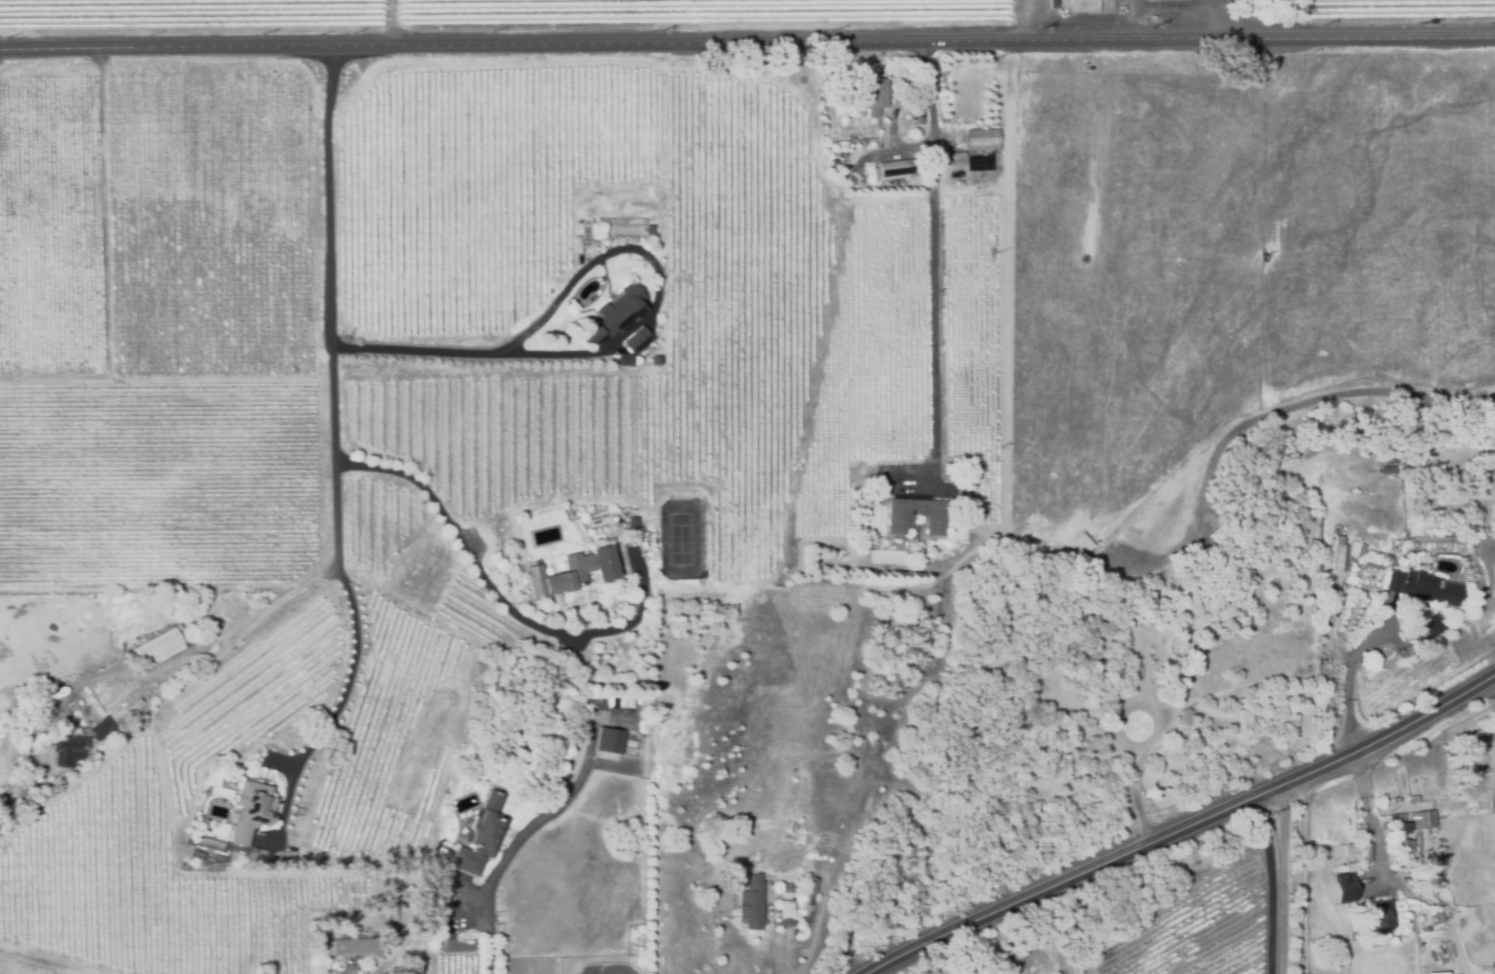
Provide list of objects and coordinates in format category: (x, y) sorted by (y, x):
building: (1080, 6)
road: (1026, 21)
road: (747, 42)
building: (876, 100)
building: (980, 139)
building: (843, 153)
building: (899, 168)
building: (955, 180)
road: (935, 245)
building: (618, 310)
building: (633, 344)
road: (443, 352)
road: (332, 448)
building: (1408, 470)
building: (917, 517)
building: (632, 523)
road: (452, 526)
building: (647, 539)
building: (1355, 551)
building: (1337, 555)
building: (571, 574)
building: (1423, 587)
building: (1426, 630)
building: (157, 649)
road: (352, 666)
road: (1494, 672)
road: (1349, 680)
building: (15, 692)
building: (136, 702)
building: (103, 730)
building: (608, 743)
building: (68, 750)
building: (1410, 799)
building: (1392, 802)
building: (254, 806)
road: (1371, 815)
building: (1414, 819)
road: (1184, 826)
building: (1398, 830)
building: (483, 833)
building: (1403, 848)
road: (509, 849)
building: (1354, 852)
road: (1302, 872)
road: (1272, 880)
building: (812, 884)
building: (1340, 889)
building: (752, 899)
building: (788, 908)
building: (1374, 917)
building: (348, 947)
building: (1024, 958)
building: (350, 967)
road: (771, 967)
building: (1492, 968)
building: (1429, 973)

